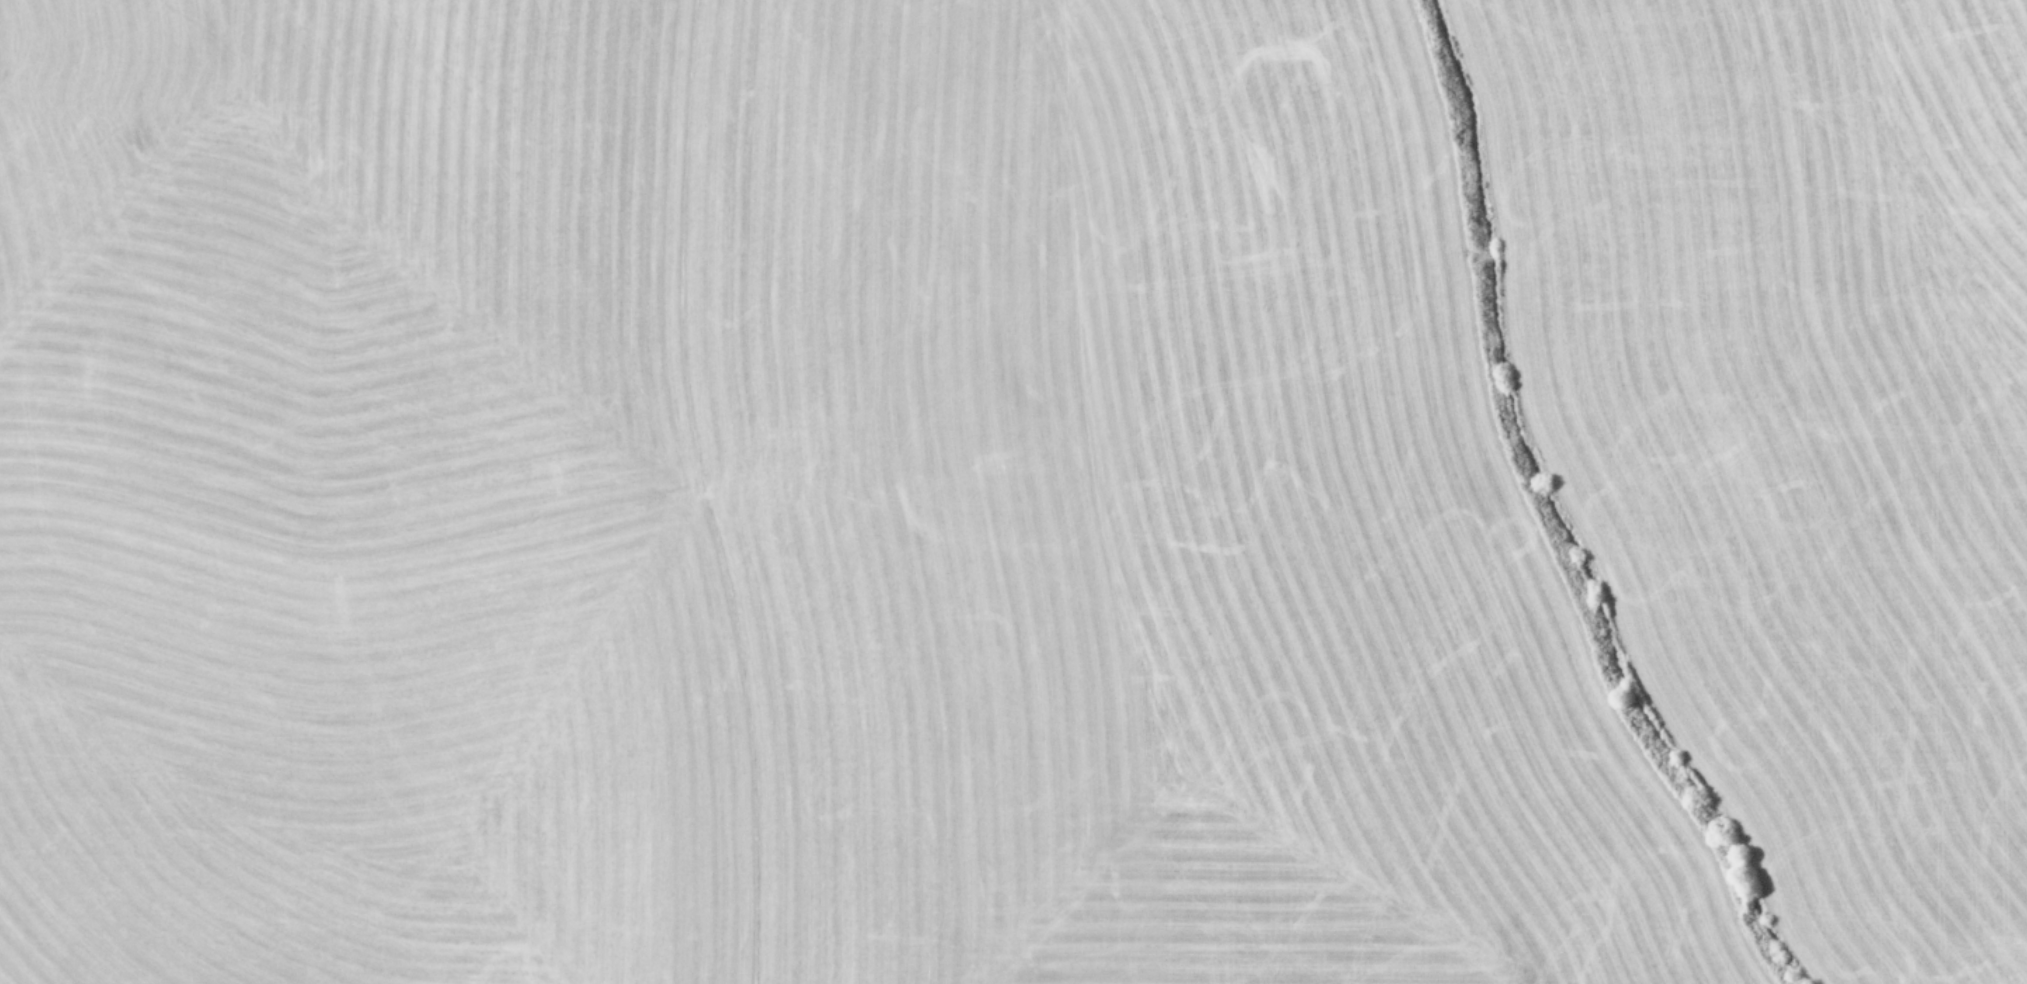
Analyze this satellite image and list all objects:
crop: (1013, 492)

